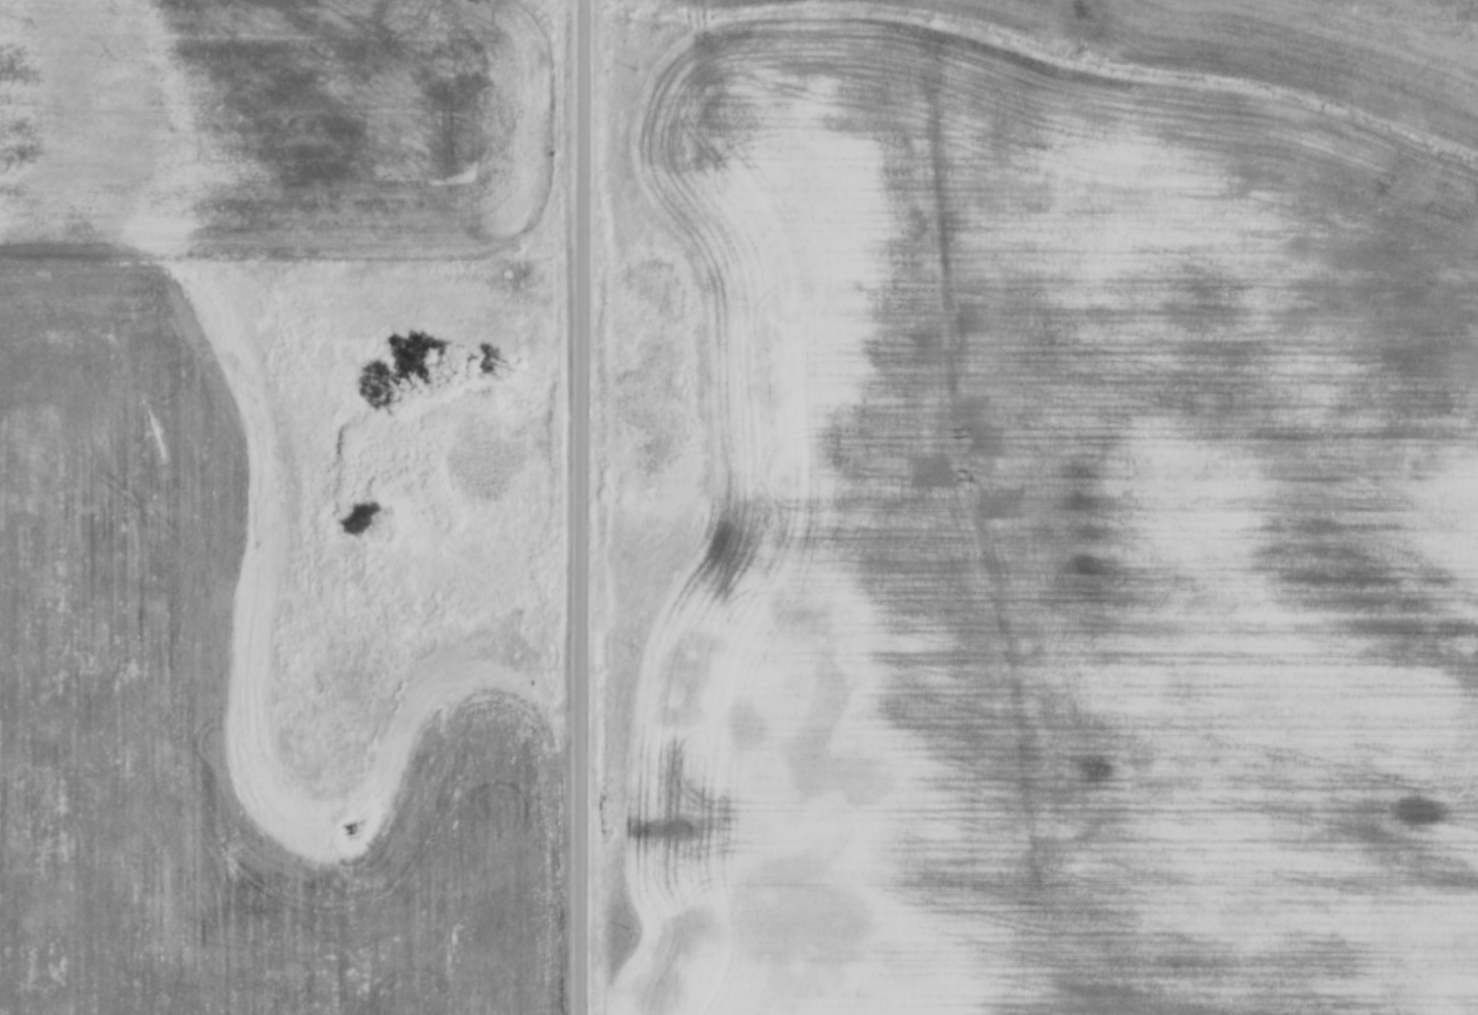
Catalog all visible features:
road: (582, 507)

